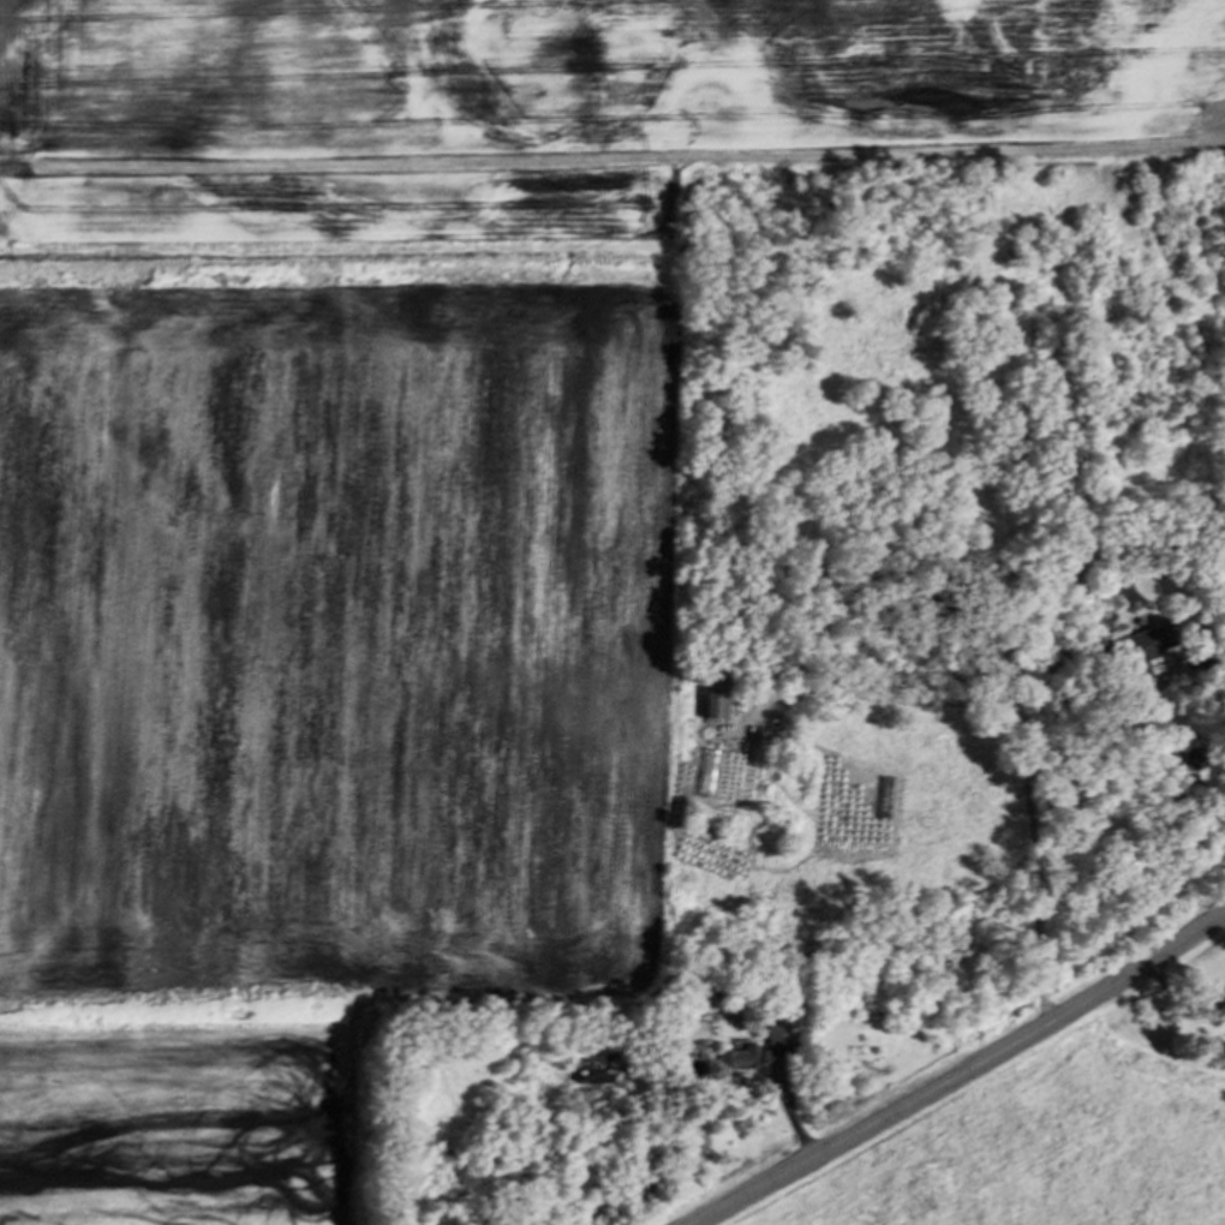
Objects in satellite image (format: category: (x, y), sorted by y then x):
building: (1143, 646)
building: (717, 699)
road: (1020, 712)
building: (697, 1033)
building: (779, 1039)
building: (743, 1059)
road: (960, 1072)

